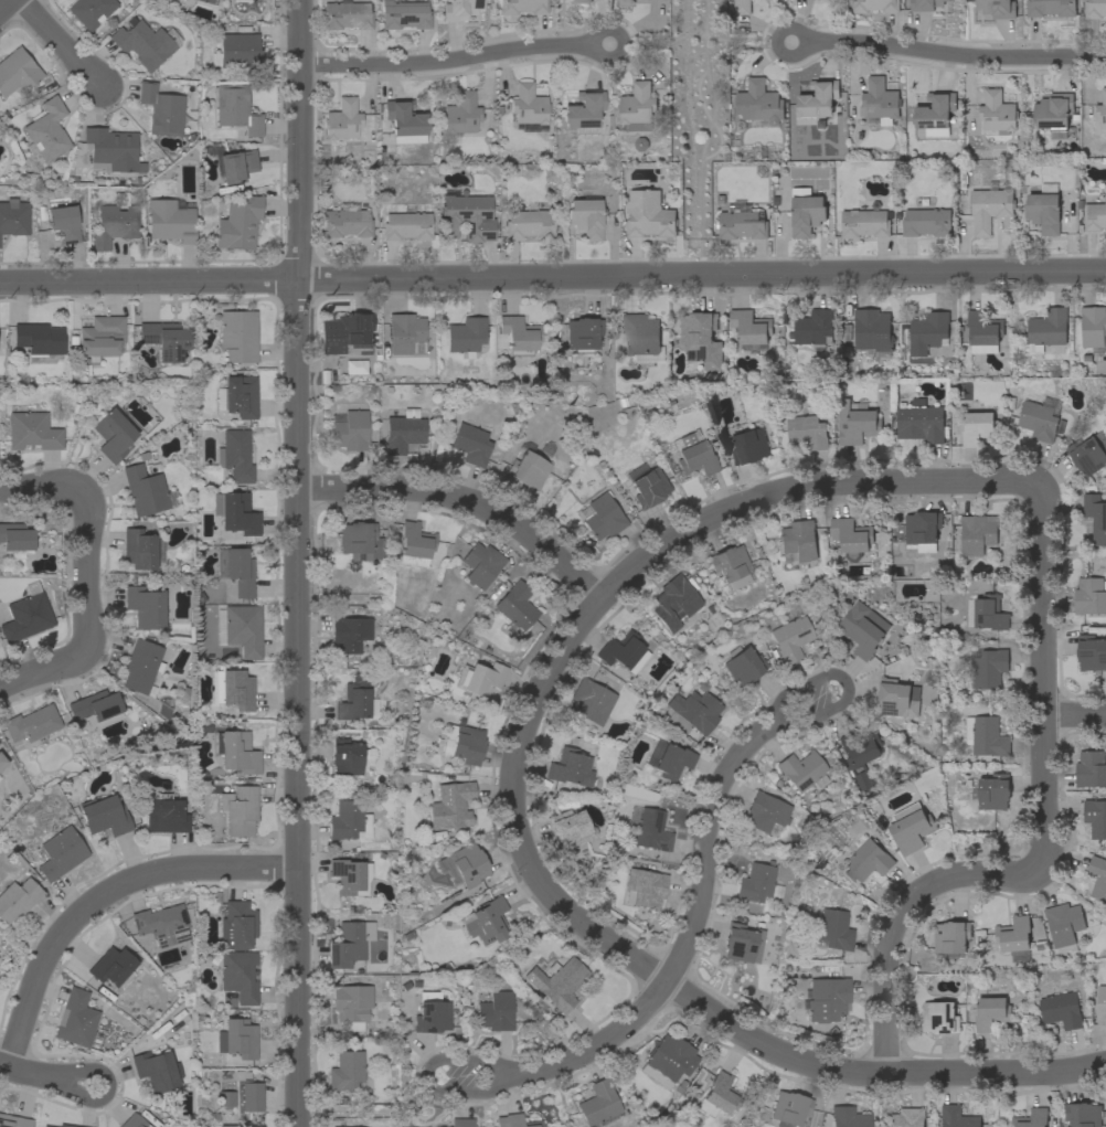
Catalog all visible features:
building: (241, 0)
building: (621, 0)
building: (582, 1)
building: (202, 2)
road: (4, 4)
building: (925, 4)
building: (521, 6)
building: (873, 6)
building: (741, 7)
building: (997, 8)
building: (1050, 8)
building: (460, 9)
building: (1095, 9)
building: (91, 10)
building: (345, 14)
building: (404, 14)
building: (145, 42)
road: (61, 43)
road: (619, 43)
road: (804, 43)
building: (237, 50)
road: (954, 55)
road: (447, 60)
building: (17, 72)
building: (818, 99)
building: (880, 100)
building: (758, 102)
building: (637, 107)
building: (235, 108)
building: (528, 108)
building: (161, 109)
building: (1102, 109)
building: (583, 111)
building: (997, 113)
building: (460, 114)
building: (935, 114)
building: (1054, 114)
building: (404, 118)
building: (342, 119)
building: (878, 121)
building: (45, 131)
building: (640, 145)
building: (111, 149)
building: (232, 163)
building: (990, 206)
building: (1043, 210)
building: (806, 212)
building: (466, 215)
building: (649, 215)
building: (13, 216)
building: (585, 216)
building: (1095, 216)
building: (170, 219)
building: (345, 221)
building: (238, 222)
building: (926, 222)
building: (63, 223)
building: (529, 223)
building: (741, 223)
building: (864, 223)
building: (114, 224)
building: (406, 225)
road: (553, 278)
building: (813, 329)
building: (1094, 329)
building: (749, 330)
building: (1045, 331)
building: (405, 332)
building: (872, 332)
building: (927, 332)
building: (983, 332)
building: (345, 333)
building: (237, 334)
building: (518, 334)
building: (582, 334)
building: (466, 336)
building: (100, 338)
building: (641, 338)
building: (162, 339)
building: (701, 339)
building: (40, 341)
building: (237, 395)
building: (1040, 419)
building: (855, 423)
building: (921, 424)
building: (977, 425)
building: (349, 429)
building: (31, 430)
building: (403, 430)
building: (807, 433)
building: (113, 434)
building: (470, 444)
building: (748, 447)
building: (693, 454)
building: (1088, 454)
building: (235, 455)
building: (528, 469)
road: (31, 483)
building: (647, 485)
building: (147, 490)
road: (464, 500)
building: (236, 512)
building: (603, 515)
building: (1096, 517)
building: (922, 530)
building: (977, 534)
building: (851, 538)
building: (15, 539)
building: (360, 539)
building: (797, 542)
building: (415, 544)
building: (140, 549)
road: (85, 560)
road: (297, 563)
building: (479, 564)
building: (731, 565)
building: (236, 570)
building: (1091, 596)
road: (600, 597)
building: (673, 602)
building: (515, 605)
building: (145, 606)
building: (986, 613)
building: (26, 615)
building: (240, 628)
building: (863, 629)
building: (350, 634)
building: (790, 638)
building: (620, 649)
building: (1091, 653)
building: (141, 664)
building: (743, 666)
building: (989, 669)
road: (45, 670)
building: (479, 679)
road: (846, 683)
building: (232, 689)
building: (357, 699)
building: (897, 699)
building: (591, 701)
building: (94, 705)
building: (694, 710)
road: (1075, 716)
building: (32, 723)
building: (986, 736)
building: (464, 743)
building: (236, 751)
building: (348, 756)
building: (668, 759)
building: (862, 759)
building: (2, 762)
building: (570, 767)
building: (802, 769)
building: (1091, 769)
building: (990, 791)
building: (450, 806)
building: (238, 810)
building: (765, 812)
building: (166, 815)
building: (104, 816)
building: (1095, 818)
building: (348, 820)
building: (571, 828)
building: (648, 828)
building: (911, 828)
road: (1044, 838)
building: (60, 853)
building: (868, 861)
building: (462, 864)
building: (349, 874)
building: (1097, 878)
building: (756, 882)
building: (645, 887)
road: (99, 896)
building: (17, 899)
building: (486, 921)
building: (161, 923)
building: (237, 925)
building: (1064, 926)
building: (833, 929)
road: (690, 931)
building: (950, 937)
building: (1014, 938)
building: (349, 943)
building: (741, 943)
building: (111, 965)
building: (237, 974)
building: (557, 981)
building: (826, 998)
building: (351, 1004)
building: (1100, 1006)
building: (493, 1009)
building: (1061, 1010)
building: (432, 1012)
building: (991, 1013)
building: (75, 1018)
building: (939, 1018)
building: (237, 1038)
building: (668, 1060)
building: (155, 1070)
building: (345, 1070)
road: (873, 1073)
road: (32, 1074)
road: (428, 1077)
road: (105, 1088)
building: (251, 1095)
building: (717, 1095)
building: (225, 1098)
building: (598, 1103)
building: (788, 1108)
building: (1083, 1115)
building: (848, 1117)
building: (957, 1117)
building: (906, 1118)
building: (1031, 1118)
building: (13, 1120)
building: (514, 1120)
building: (134, 1121)
building: (460, 1123)
building: (67, 1125)
building: (226, 1125)
building: (46, 1126)
building: (253, 1126)
building: (336, 1126)

